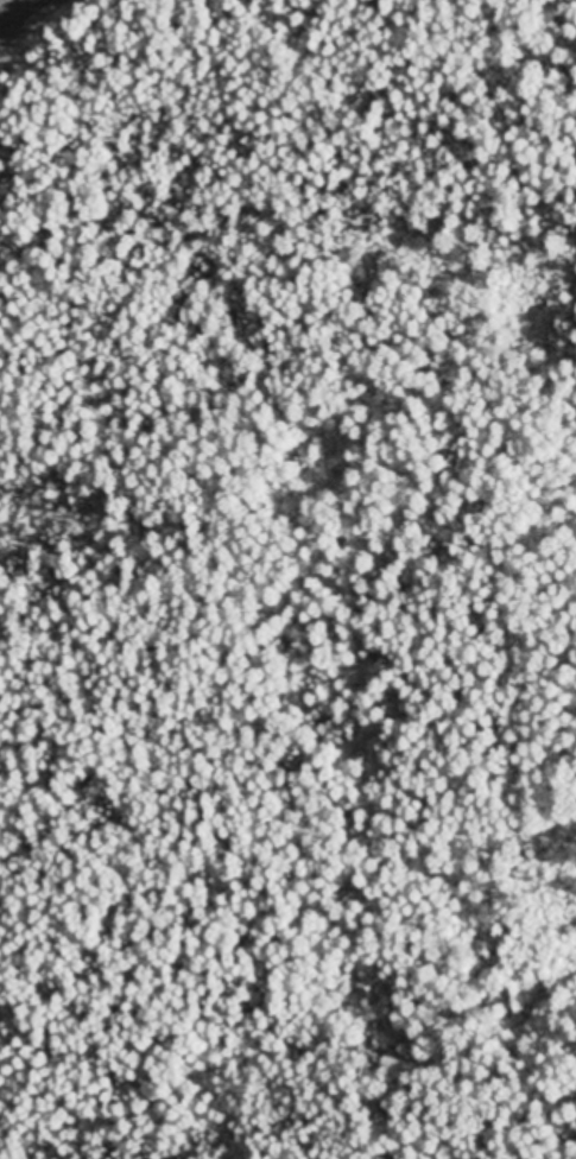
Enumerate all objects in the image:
road: (21, 14)

